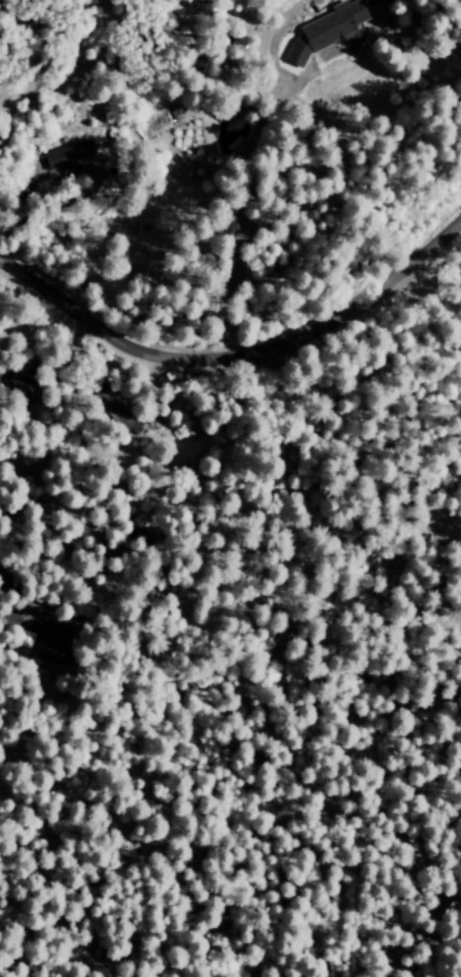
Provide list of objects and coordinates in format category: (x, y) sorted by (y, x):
building: (333, 23)
building: (296, 54)
building: (66, 153)
road: (19, 199)
road: (253, 204)
road: (235, 352)
building: (118, 416)
building: (24, 639)

